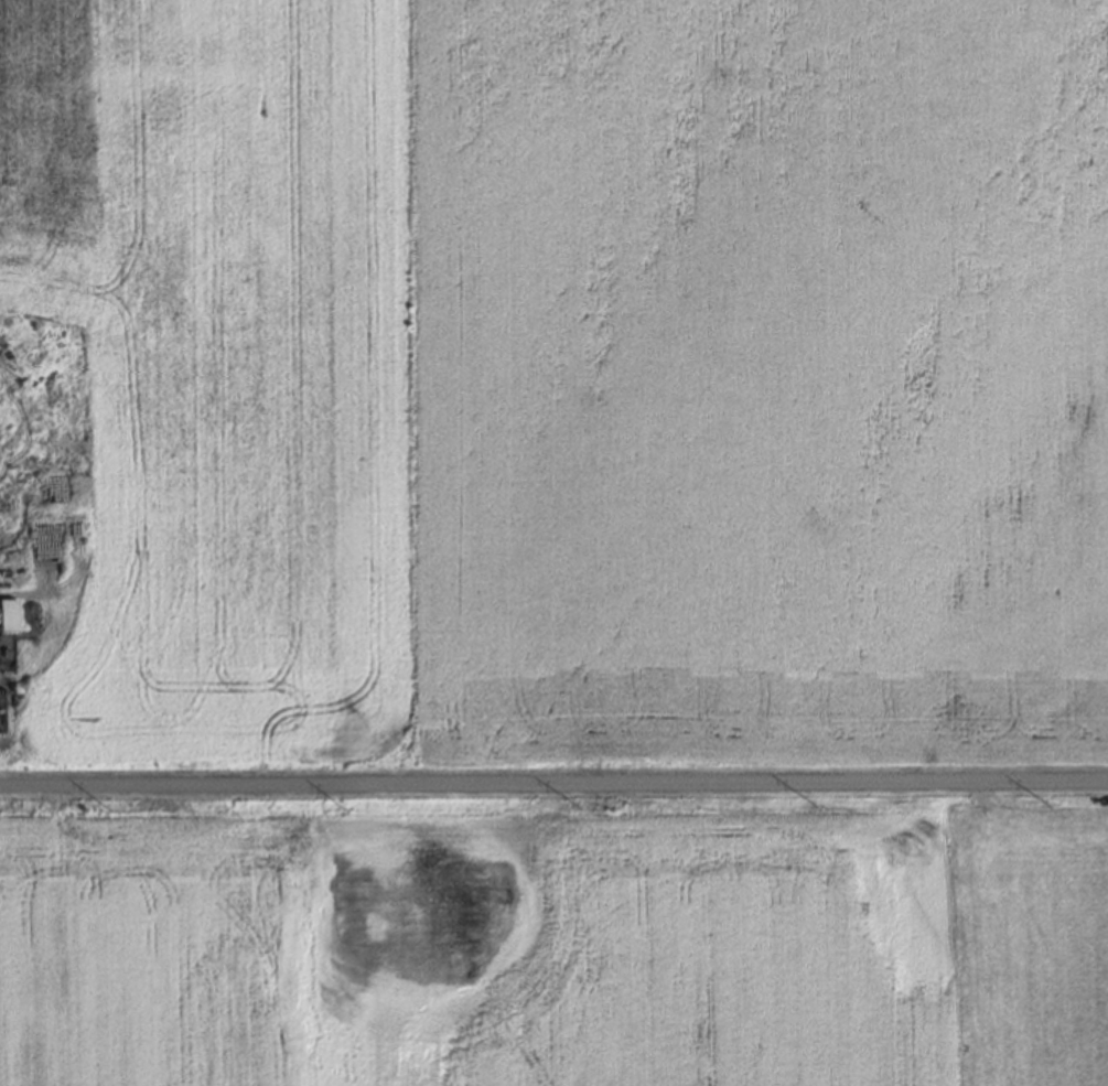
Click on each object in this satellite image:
building: (23, 484)
building: (7, 620)
road: (553, 784)

